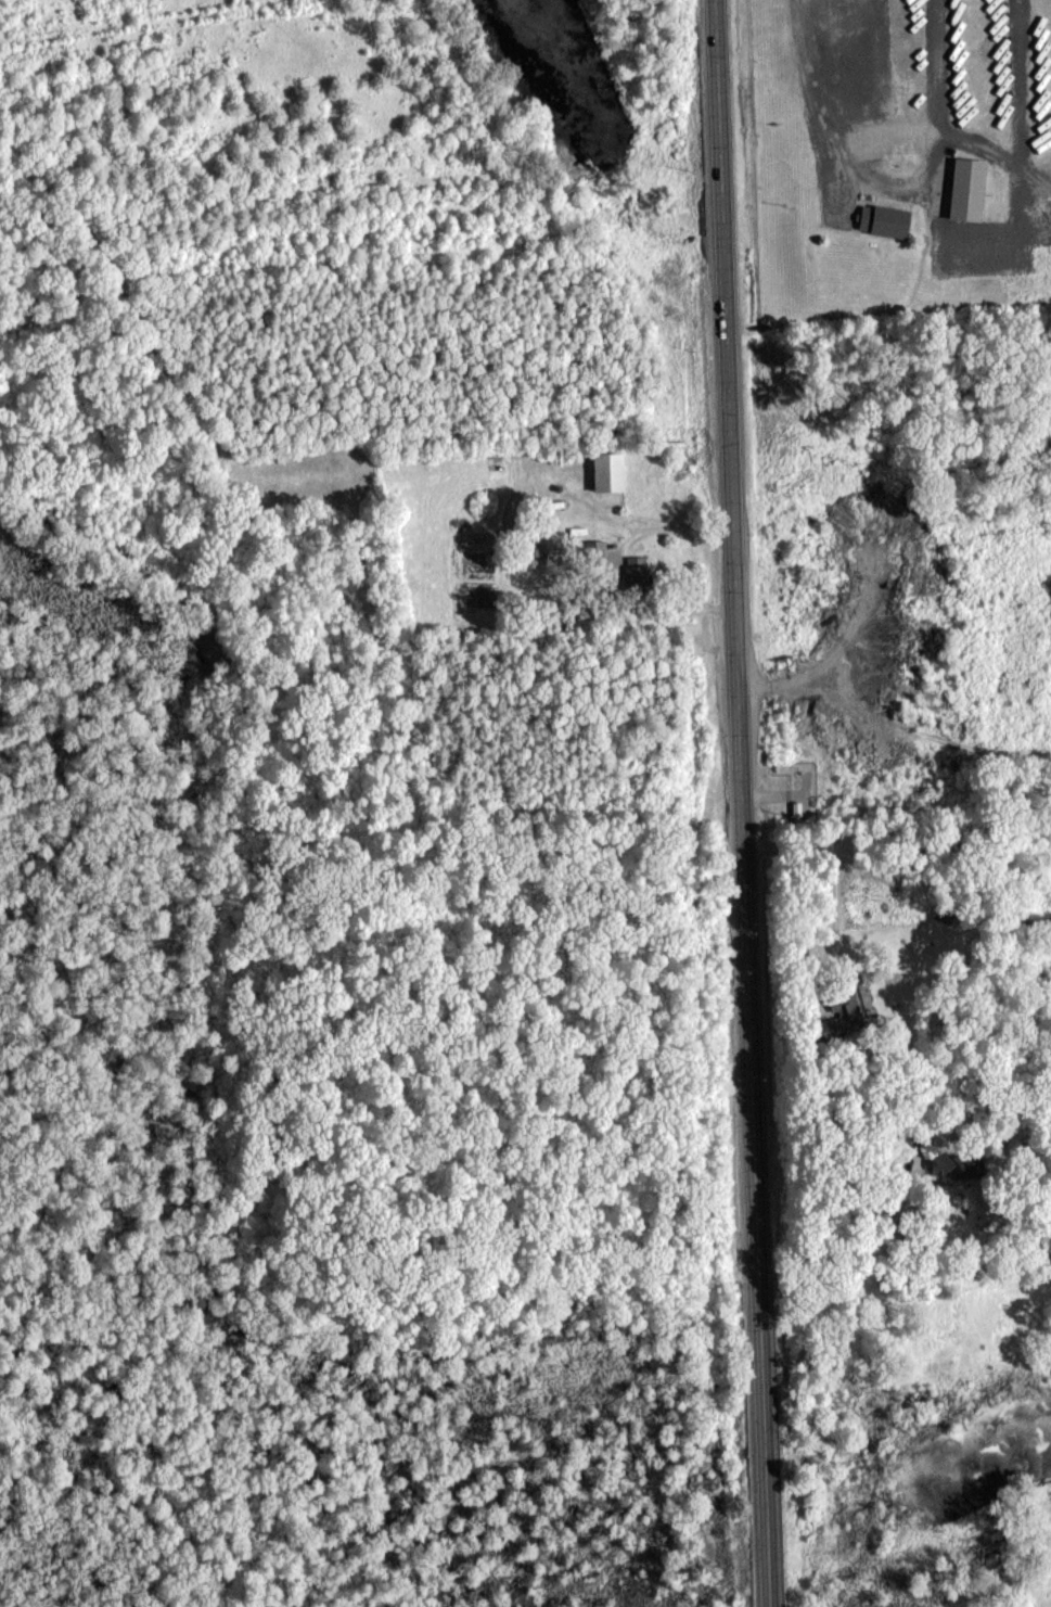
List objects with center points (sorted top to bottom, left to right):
road: (867, 65)
road: (939, 66)
road: (1020, 116)
road: (943, 135)
road: (828, 144)
building: (972, 188)
building: (888, 220)
road: (941, 240)
building: (612, 471)
building: (597, 550)
building: (636, 569)
road: (738, 803)
road: (834, 876)
building: (847, 1016)
building: (957, 1166)
road: (849, 1249)

